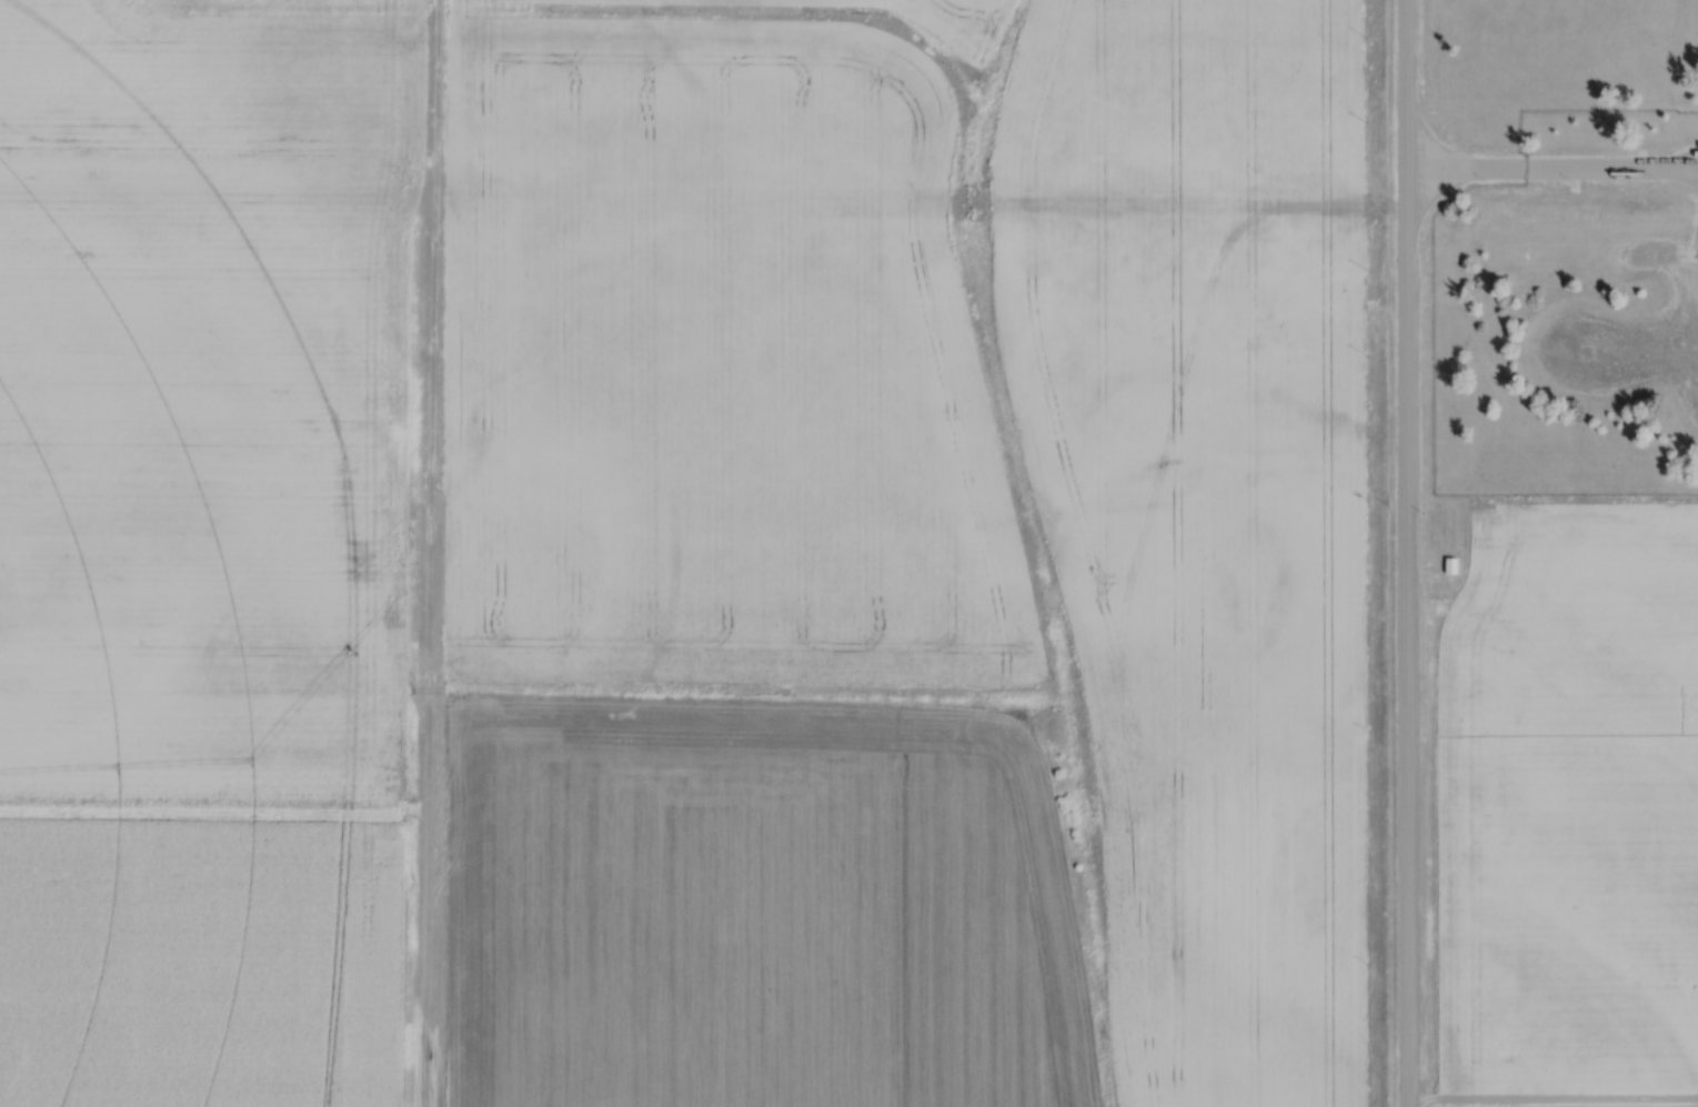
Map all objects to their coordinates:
road: (1550, 162)
road: (1404, 553)
building: (1453, 565)

